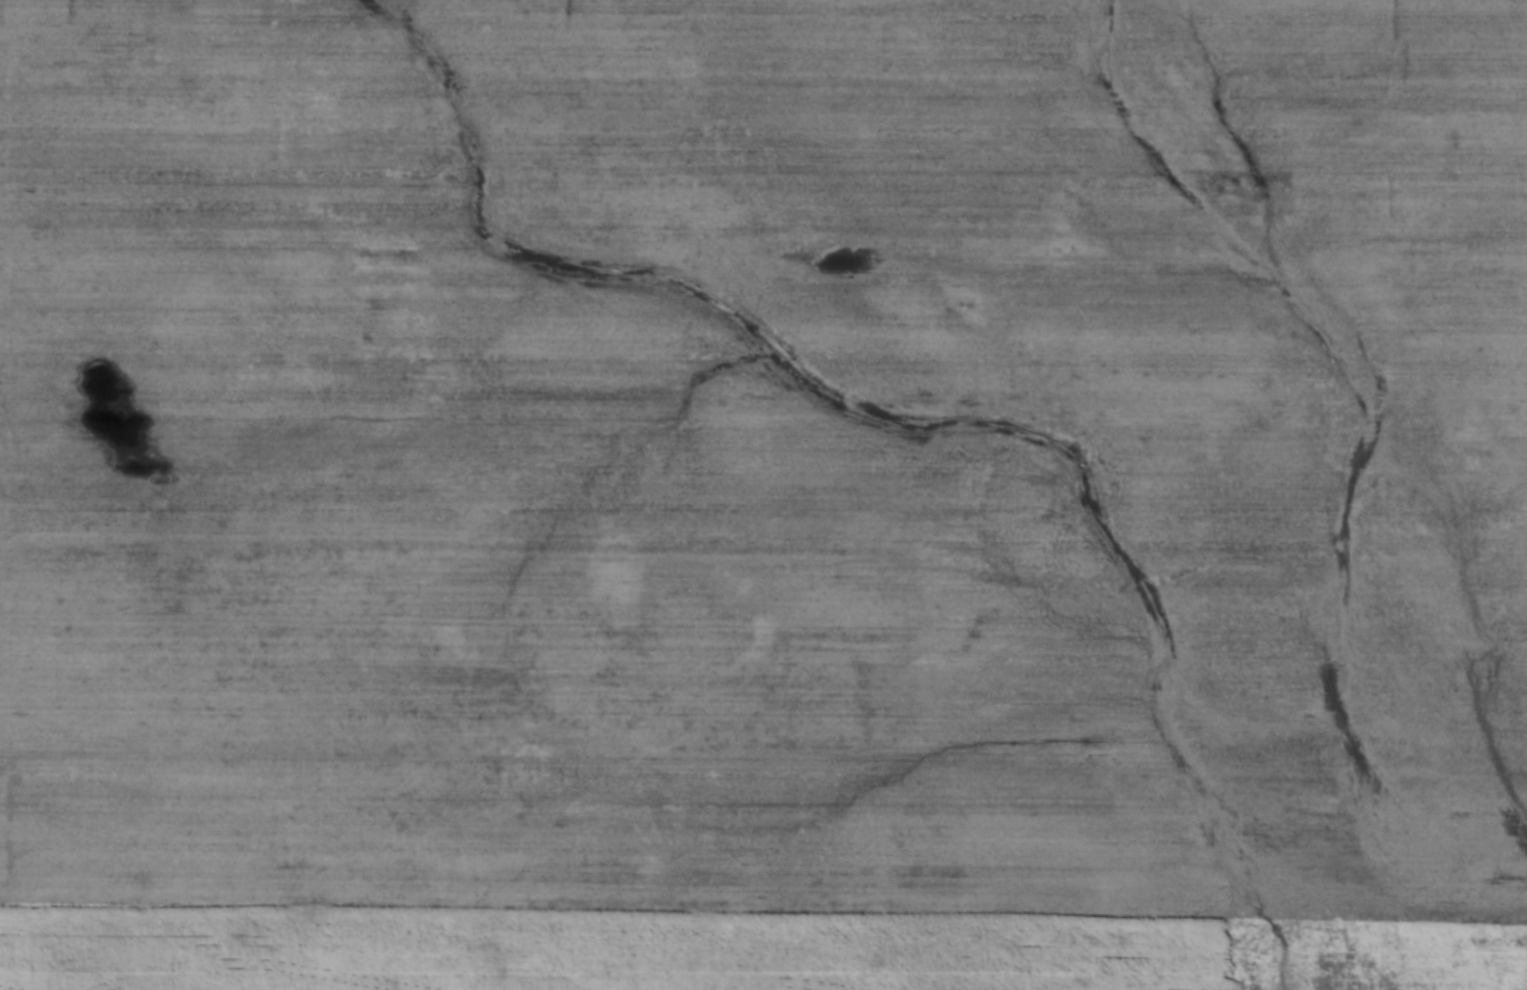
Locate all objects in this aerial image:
road: (0, 281)
road: (763, 908)

